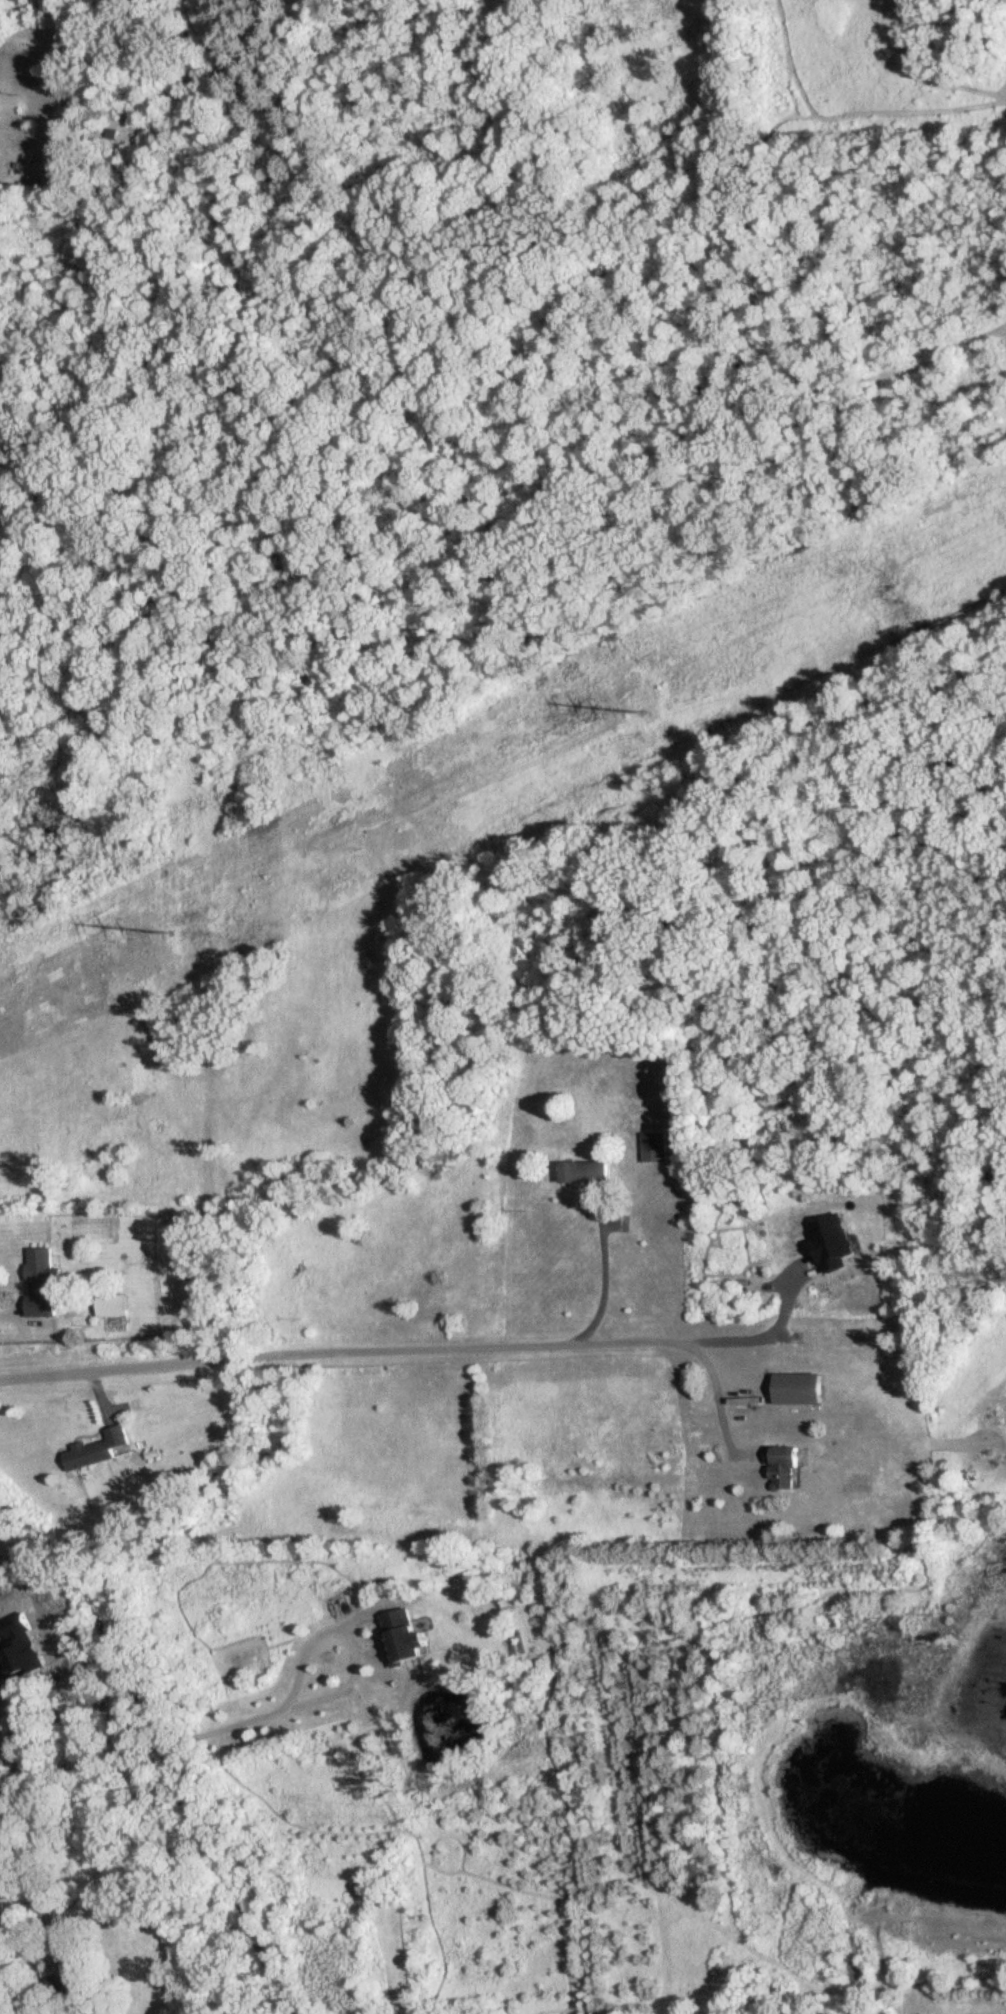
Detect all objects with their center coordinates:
building: (110, 134)
power tower: (642, 710)
power tower: (170, 931)
building: (653, 1146)
building: (581, 1171)
road: (606, 1280)
building: (41, 1283)
building: (108, 1305)
road: (6, 1331)
road: (768, 1337)
road: (399, 1352)
building: (795, 1388)
building: (95, 1449)
building: (780, 1467)
building: (401, 1636)
road: (348, 1638)
road: (139, 1749)
building: (48, 1914)
road: (33, 1945)
building: (61, 1974)

